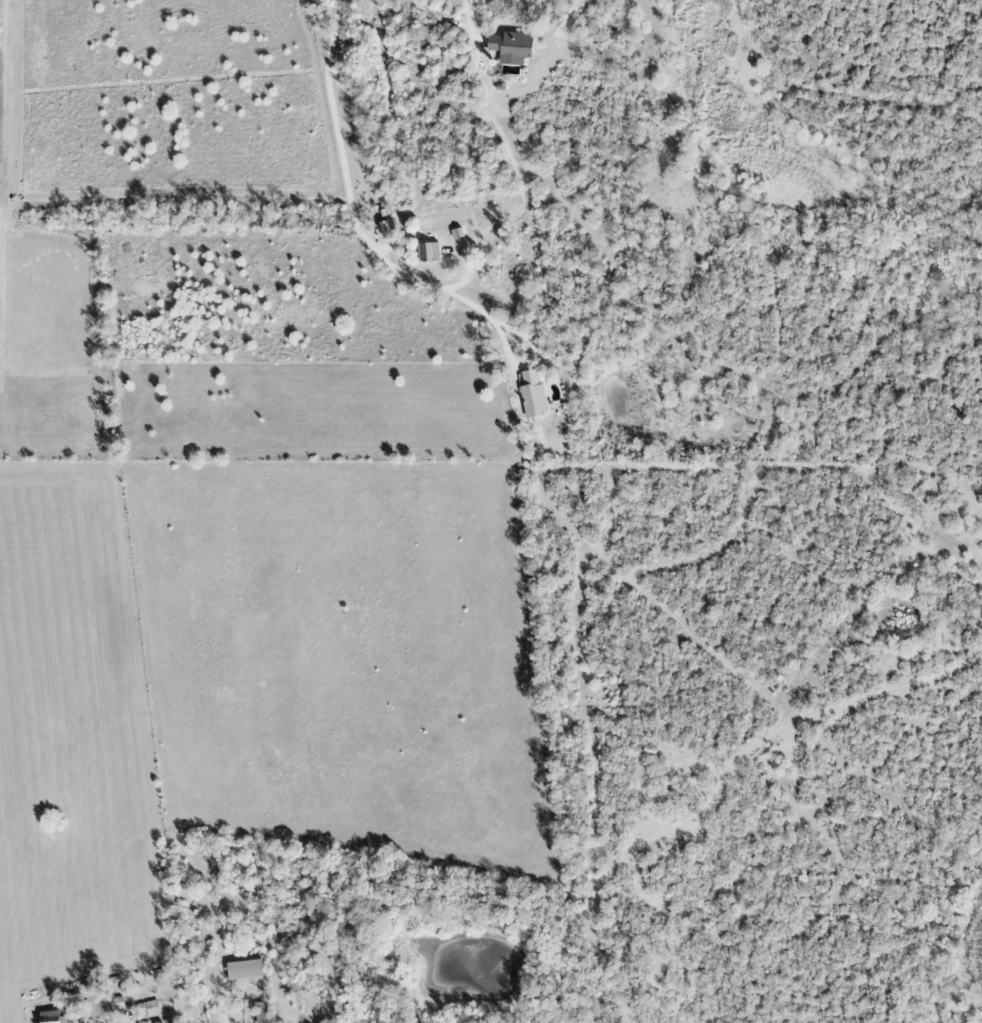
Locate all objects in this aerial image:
road: (437, 16)
building: (511, 47)
road: (504, 145)
road: (349, 193)
building: (456, 233)
building: (428, 252)
road: (508, 352)
building: (533, 395)
building: (245, 970)
building: (147, 1005)
road: (228, 1008)
building: (263, 1014)
building: (52, 1017)

